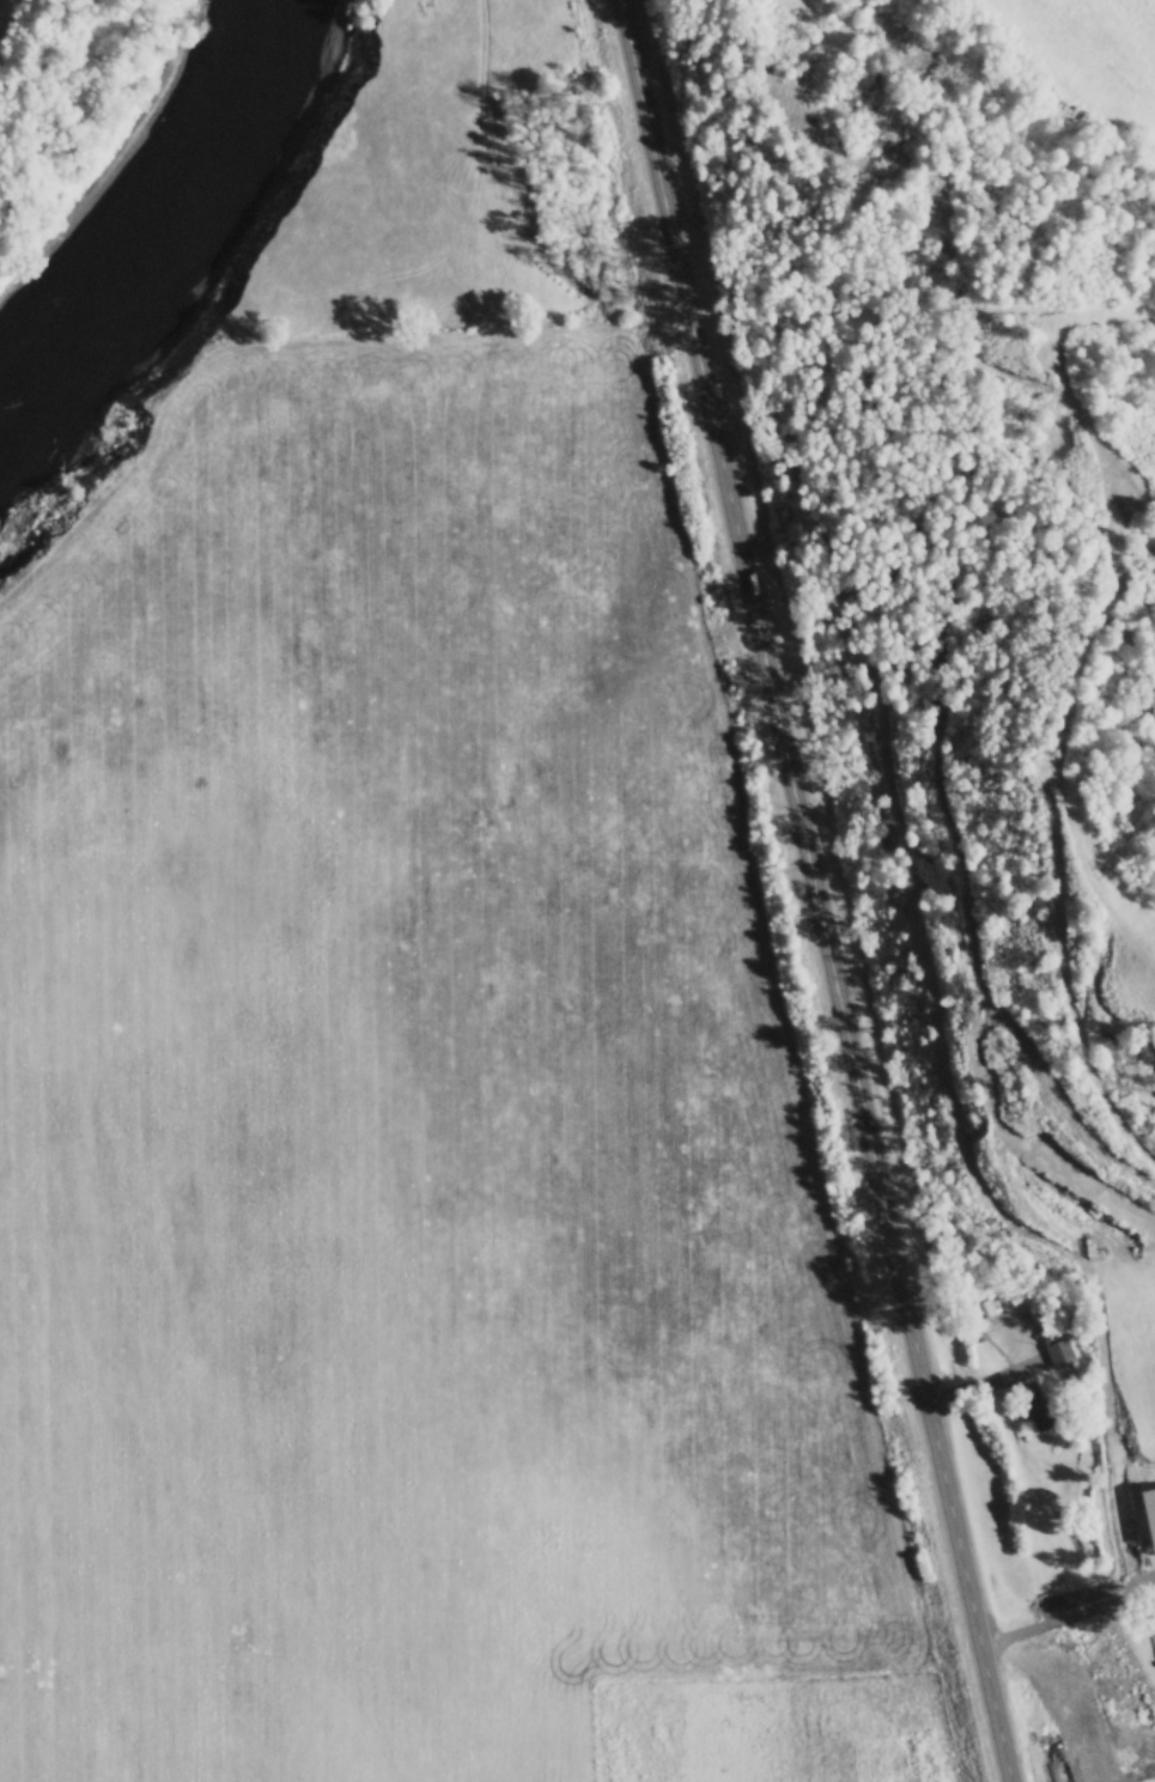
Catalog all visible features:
river: (156, 213)
road: (823, 890)
building: (1058, 1352)
building: (1033, 1403)
building: (1150, 1510)
road: (1070, 1616)

